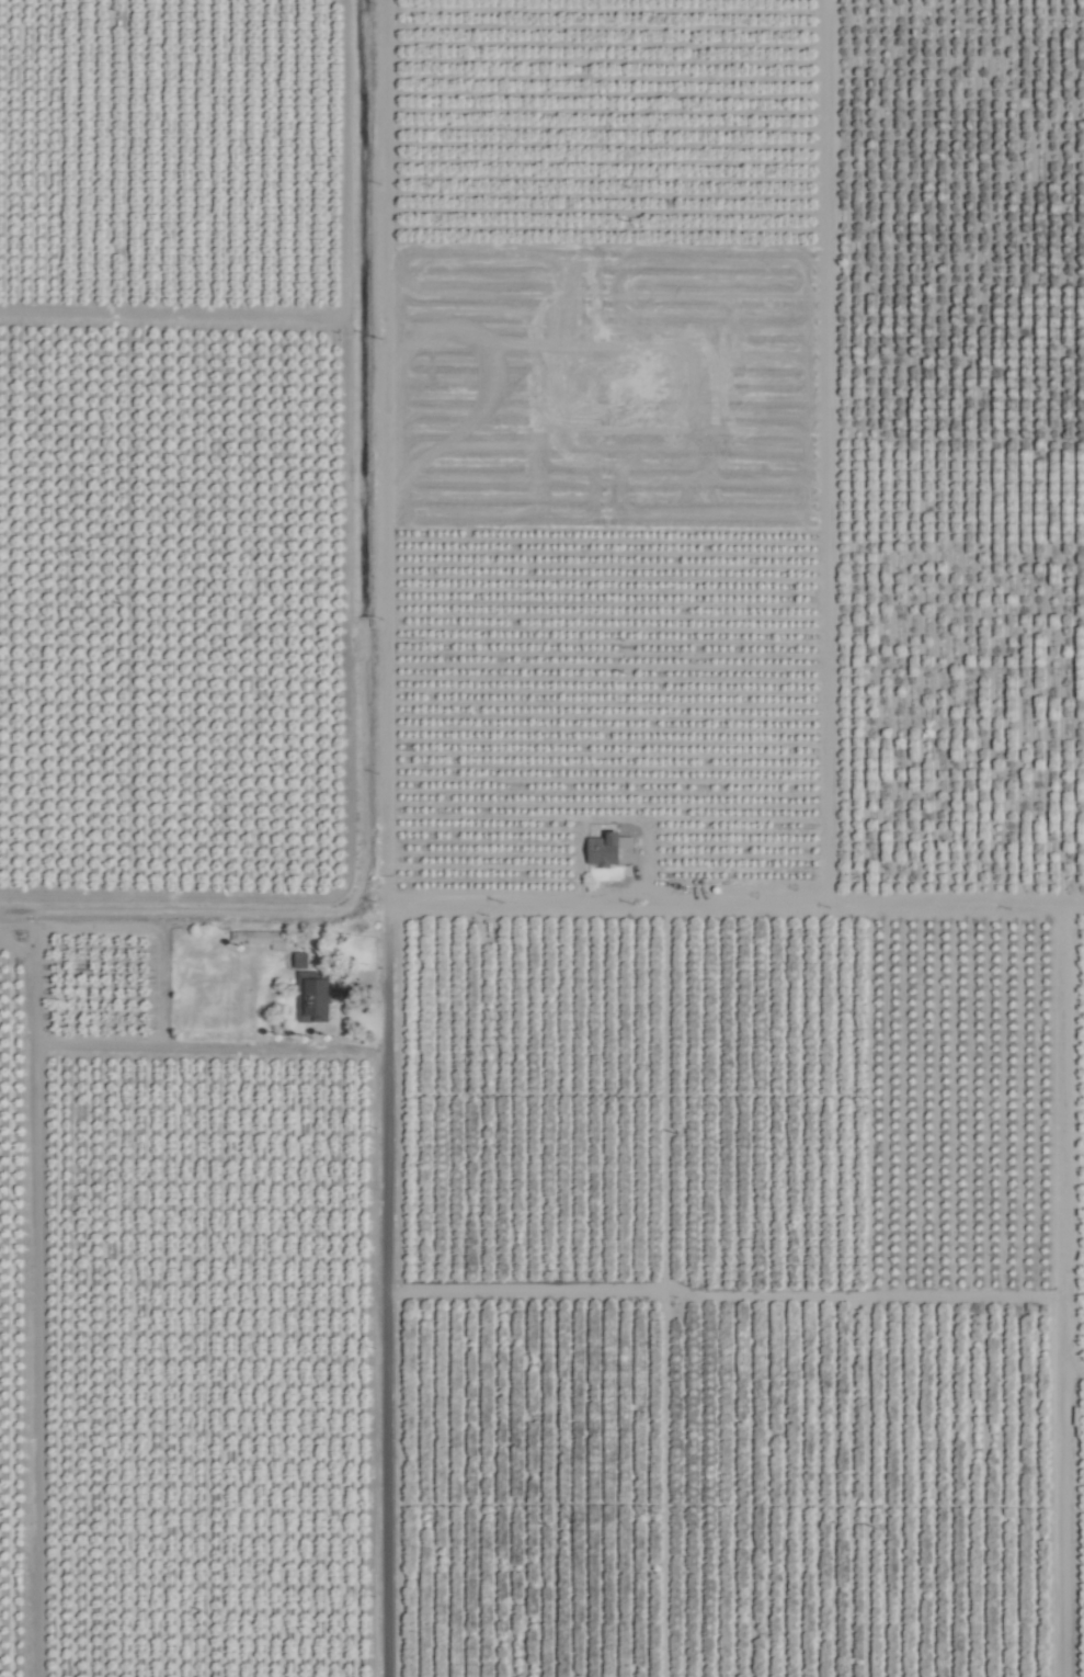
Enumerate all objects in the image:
crop: (541, 838)
building: (606, 849)
road: (740, 910)
building: (296, 960)
building: (308, 997)
road: (333, 1046)
road: (1056, 1284)
road: (397, 1293)

